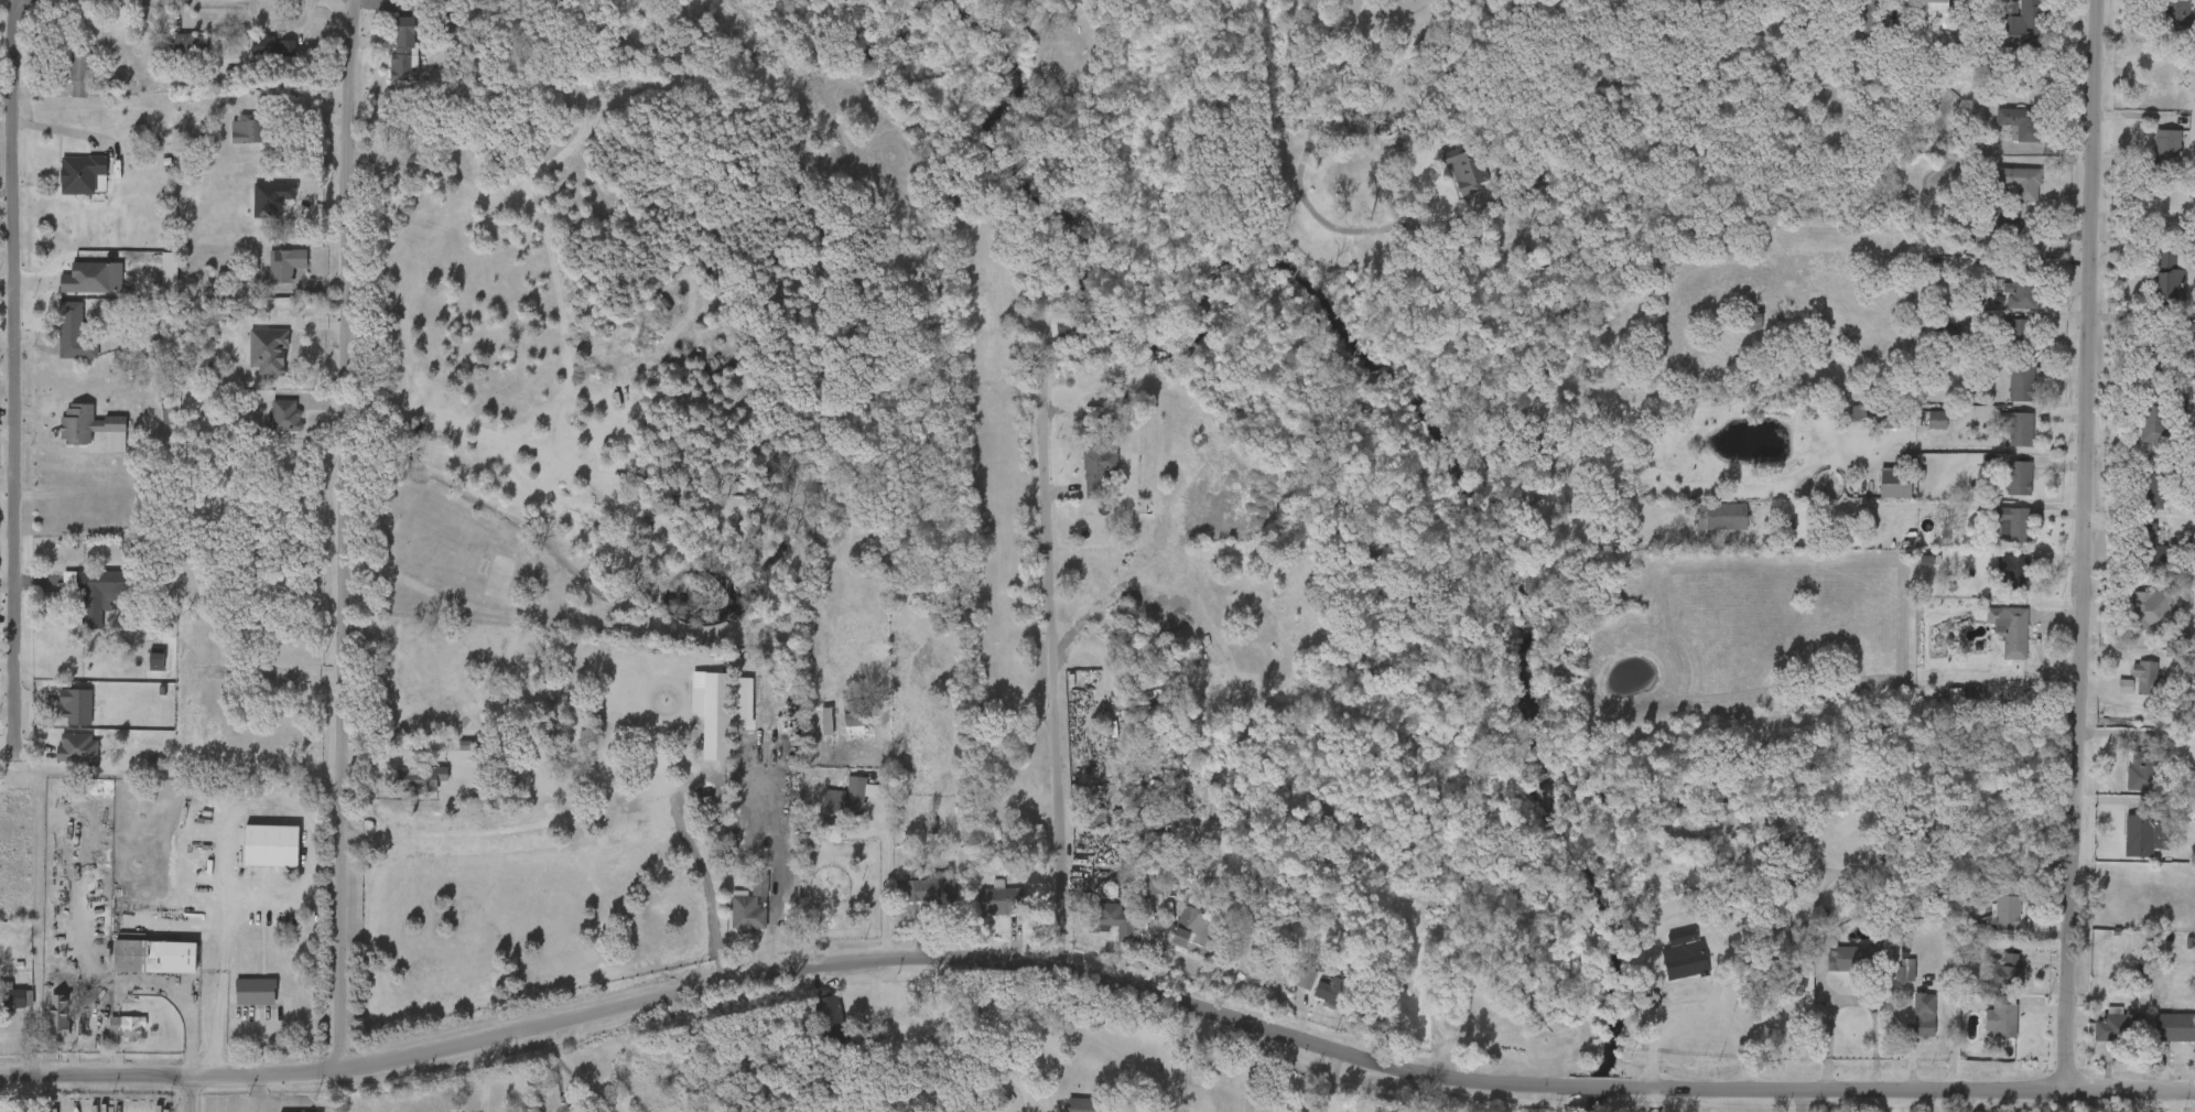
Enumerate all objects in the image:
building: (1066, 1)
building: (1942, 10)
building: (1918, 13)
building: (2177, 17)
building: (1866, 22)
building: (2159, 23)
building: (2023, 24)
building: (2003, 32)
building: (195, 47)
building: (404, 48)
building: (278, 51)
building: (177, 54)
building: (389, 60)
building: (82, 69)
building: (2163, 79)
building: (64, 84)
building: (2142, 89)
building: (2023, 122)
building: (248, 128)
building: (2002, 132)
building: (233, 139)
building: (2172, 150)
building: (2149, 156)
building: (1466, 165)
building: (83, 172)
building: (1448, 179)
building: (2020, 182)
building: (65, 183)
road: (1301, 186)
building: (2002, 192)
building: (2001, 219)
building: (1970, 237)
building: (288, 262)
building: (270, 273)
building: (88, 276)
building: (2173, 278)
building: (2152, 287)
building: (2024, 291)
building: (2002, 304)
building: (76, 331)
building: (1066, 331)
building: (2021, 336)
building: (1999, 339)
building: (58, 343)
building: (2158, 348)
building: (270, 349)
road: (8, 359)
building: (252, 360)
building: (2187, 373)
building: (2021, 382)
building: (2004, 393)
building: (289, 414)
building: (2156, 417)
building: (1934, 420)
building: (1843, 423)
building: (270, 424)
building: (94, 425)
building: (1921, 429)
building: (2021, 429)
building: (2134, 434)
building: (76, 436)
building: (2003, 439)
building: (1100, 465)
building: (1082, 477)
building: (2016, 477)
building: (2153, 485)
building: (1999, 486)
building: (1879, 493)
building: (2133, 501)
road: (1933, 505)
road: (2050, 508)
building: (1720, 516)
building: (2014, 523)
building: (1996, 532)
road: (339, 536)
building: (2130, 544)
road: (2080, 546)
building: (2147, 548)
building: (2014, 571)
building: (1994, 580)
building: (97, 593)
building: (2153, 611)
building: (2131, 619)
building: (2010, 630)
building: (1993, 639)
building: (158, 660)
building: (140, 668)
road: (1035, 674)
building: (2151, 678)
building: (2129, 685)
building: (505, 695)
building: (2108, 695)
building: (1954, 703)
building: (1937, 704)
building: (1842, 708)
building: (61, 715)
building: (856, 716)
building: (700, 725)
building: (811, 730)
building: (837, 732)
building: (62, 757)
building: (2149, 770)
building: (421, 778)
building: (2126, 780)
building: (403, 787)
building: (846, 800)
building: (1093, 818)
road: (237, 820)
building: (1901, 830)
building: (2149, 830)
road: (509, 834)
building: (913, 836)
building: (272, 843)
building: (2126, 845)
building: (1127, 865)
building: (1150, 878)
road: (311, 886)
building: (929, 888)
building: (1134, 894)
road: (884, 898)
building: (1001, 899)
building: (752, 906)
building: (733, 917)
building: (1189, 918)
building: (1998, 918)
building: (1783, 919)
building: (1113, 920)
building: (1096, 928)
building: (1178, 940)
building: (1665, 946)
building: (155, 956)
building: (1688, 956)
building: (1857, 960)
building: (2128, 967)
building: (1667, 971)
building: (2008, 972)
building: (1888, 981)
building: (1988, 981)
building: (1805, 983)
road: (1096, 985)
road: (231, 986)
building: (1289, 987)
building: (1332, 989)
building: (257, 990)
building: (1788, 996)
building: (13, 998)
building: (1315, 998)
building: (240, 1000)
building: (62, 1015)
building: (2004, 1017)
building: (1921, 1018)
building: (1907, 1023)
building: (2117, 1025)
building: (44, 1026)
building: (128, 1026)
building: (2176, 1027)
building: (1983, 1028)
building: (815, 1029)
building: (841, 1029)
road: (1831, 1030)
road: (1661, 1032)
building: (111, 1035)
road: (994, 1036)
building: (2158, 1036)
building: (2191, 1049)
road: (1252, 1071)
road: (182, 1092)
road: (562, 1095)
road: (1651, 1100)
building: (1081, 1104)

